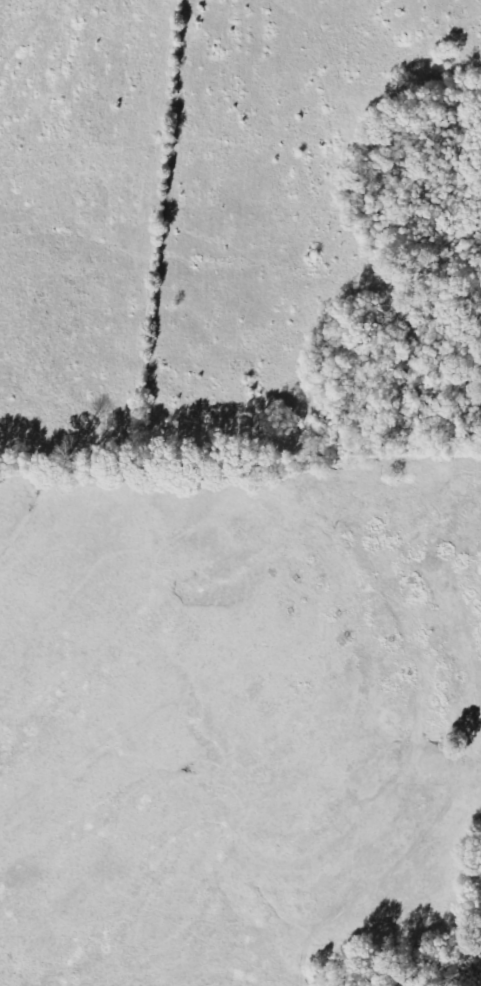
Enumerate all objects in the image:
road: (3, 283)

